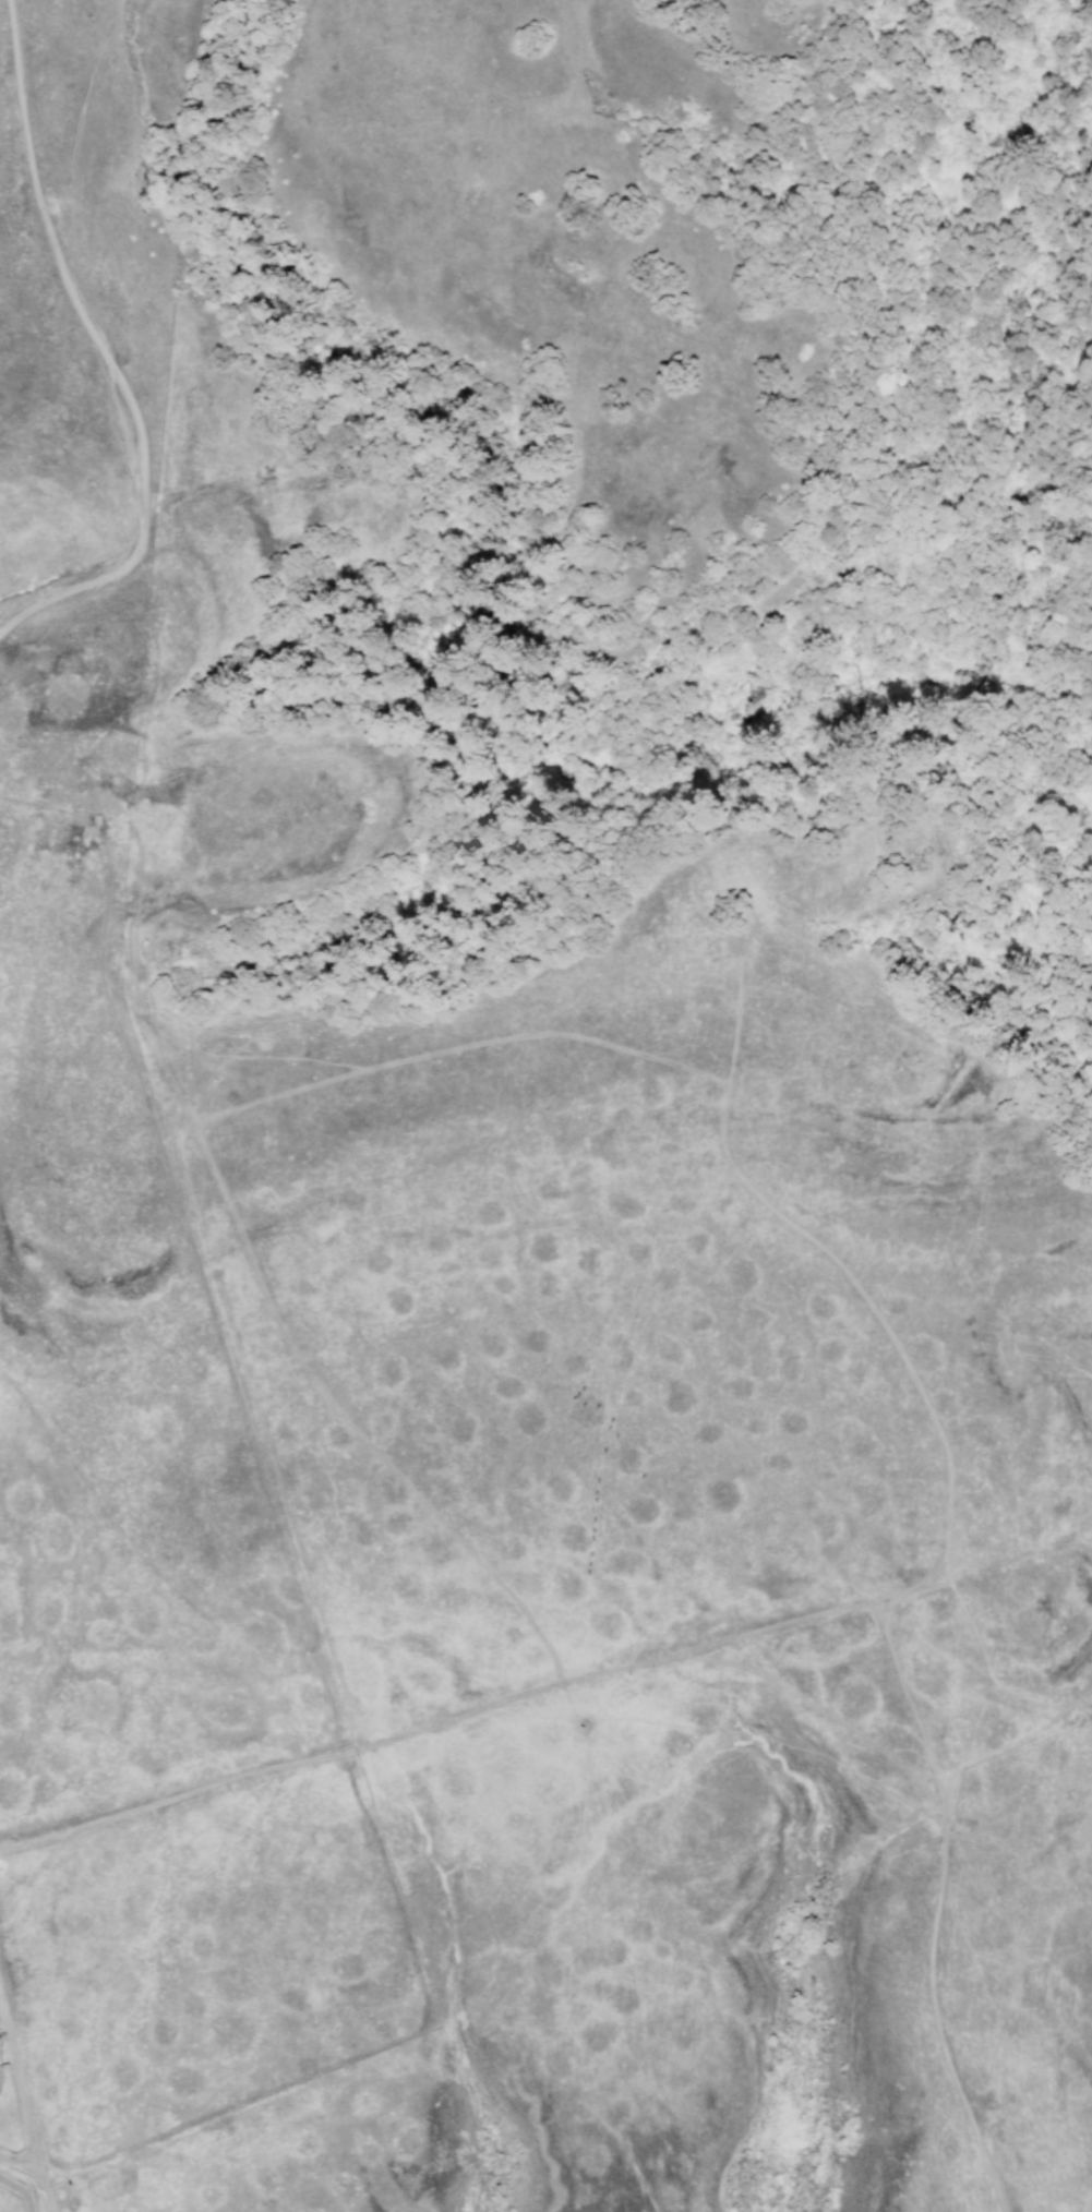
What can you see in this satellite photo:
road: (10, 3)
road: (140, 107)
road: (193, 242)
road: (230, 301)
road: (195, 303)
road: (110, 357)
road: (213, 443)
road: (284, 708)
road: (141, 768)
road: (741, 1010)
road: (256, 1049)
road: (722, 1121)
road: (195, 1126)
crop: (145, 1360)
road: (988, 1649)
road: (550, 1660)
road: (344, 1691)
road: (830, 1714)
crop: (574, 1740)
road: (988, 1755)
road: (1025, 1766)
road: (173, 1796)
road: (941, 1906)
road: (2, 2006)
road: (24, 2097)
road: (17, 2159)

